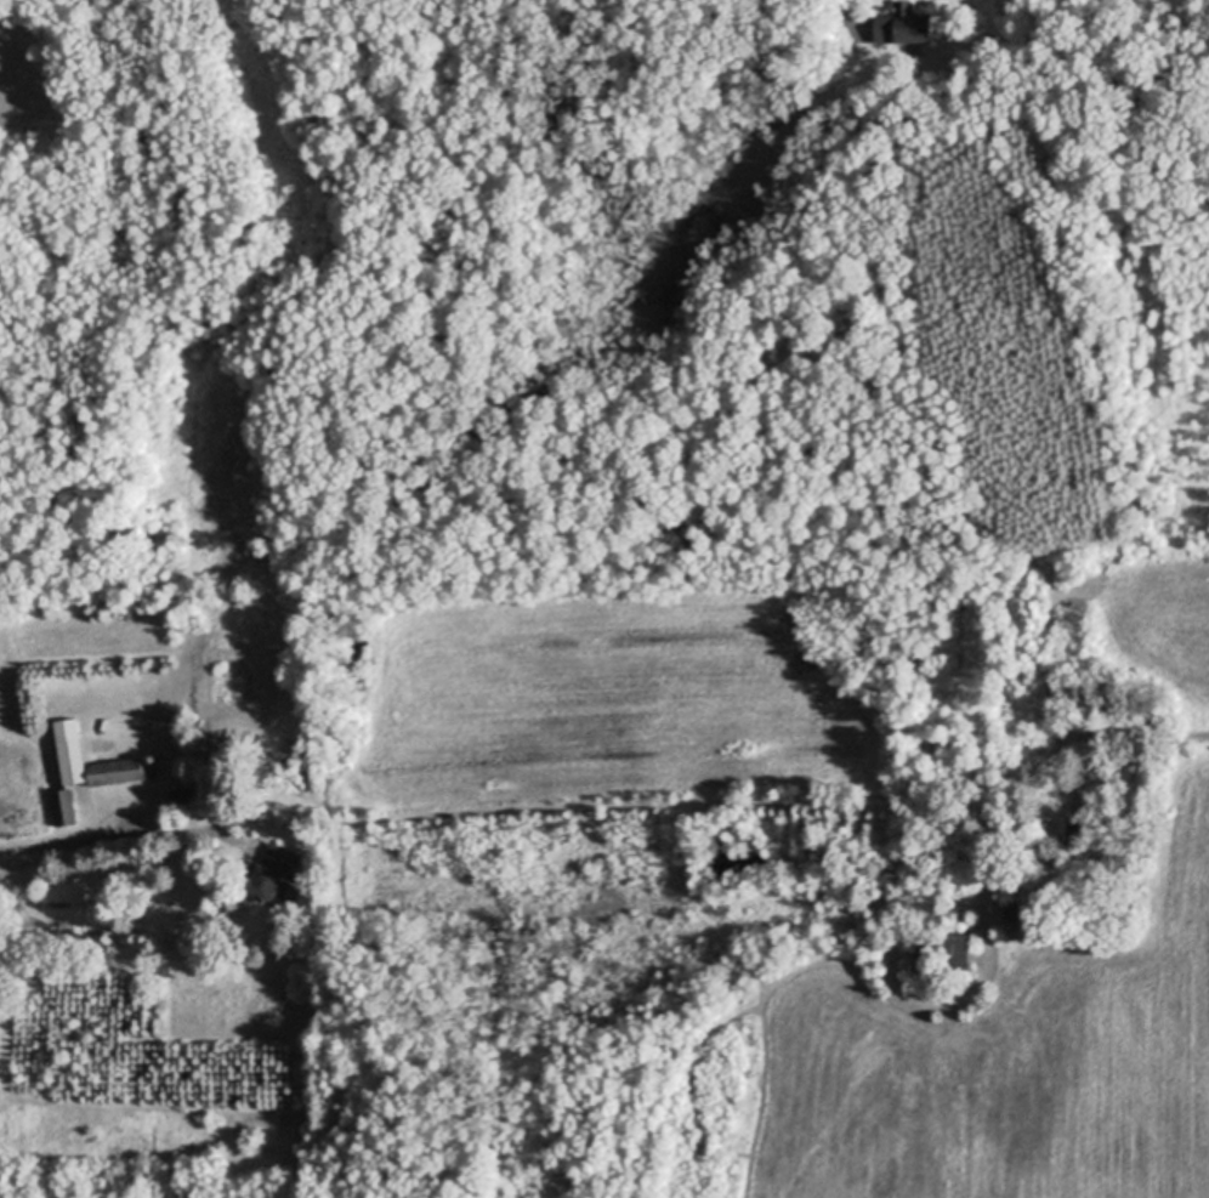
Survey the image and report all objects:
road: (847, 15)
building: (902, 27)
road: (1153, 737)
building: (73, 749)
building: (152, 757)
building: (120, 771)
building: (909, 772)
building: (182, 799)
building: (1051, 801)
building: (1082, 801)
building: (64, 807)
building: (233, 814)
building: (174, 821)
building: (1075, 833)
road: (134, 834)
road: (7, 850)
building: (1099, 851)
building: (891, 864)
building: (272, 870)
building: (1010, 910)
building: (944, 949)

